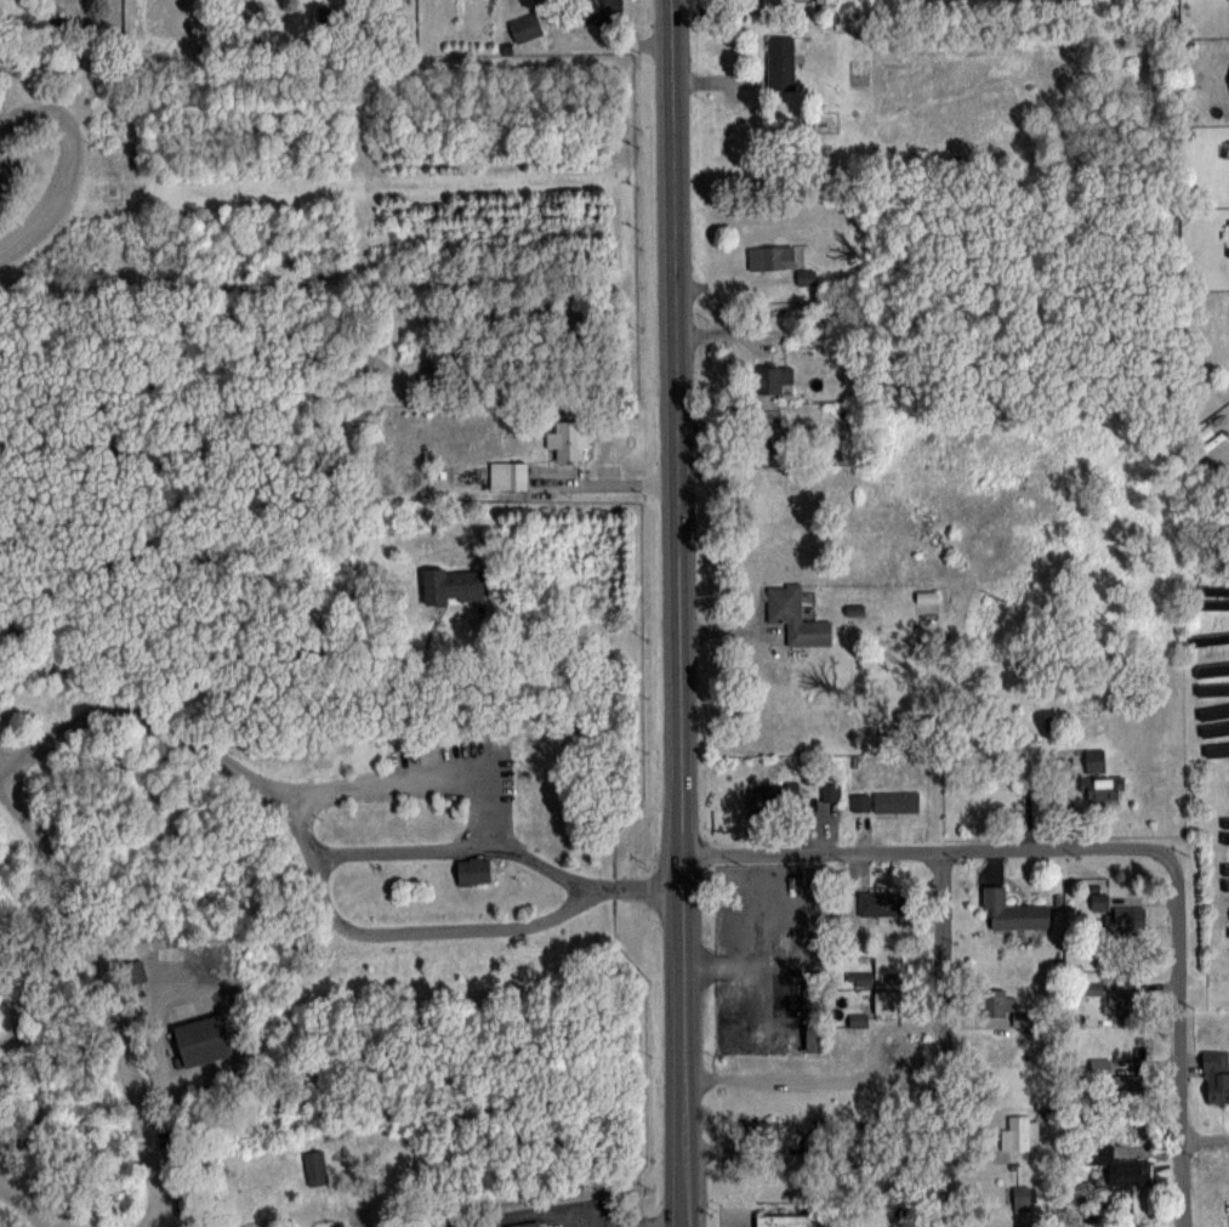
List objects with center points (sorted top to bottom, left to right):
building: (825, 0)
building: (602, 11)
road: (727, 11)
building: (525, 27)
building: (780, 61)
road: (70, 157)
building: (772, 256)
building: (774, 377)
building: (768, 430)
building: (568, 438)
building: (508, 475)
road: (604, 479)
building: (450, 583)
building: (927, 596)
road: (671, 613)
building: (793, 615)
park: (313, 643)
building: (1100, 779)
building: (830, 790)
building: (774, 797)
building: (860, 800)
building: (895, 800)
road: (305, 837)
road: (497, 848)
road: (920, 852)
building: (472, 870)
building: (802, 899)
building: (881, 903)
building: (1119, 907)
building: (1013, 910)
building: (135, 972)
building: (883, 978)
road: (28, 981)
road: (108, 995)
building: (997, 1001)
building: (1120, 1001)
building: (201, 1039)
road: (938, 1039)
road: (1176, 1040)
building: (1128, 1074)
building: (1216, 1075)
road: (825, 1078)
building: (764, 1130)
building: (1019, 1132)
road: (1204, 1142)
building: (315, 1166)
building: (1120, 1166)
road: (41, 1203)
road: (550, 1212)
building: (787, 1221)
building: (523, 1223)
road: (654, 1225)

